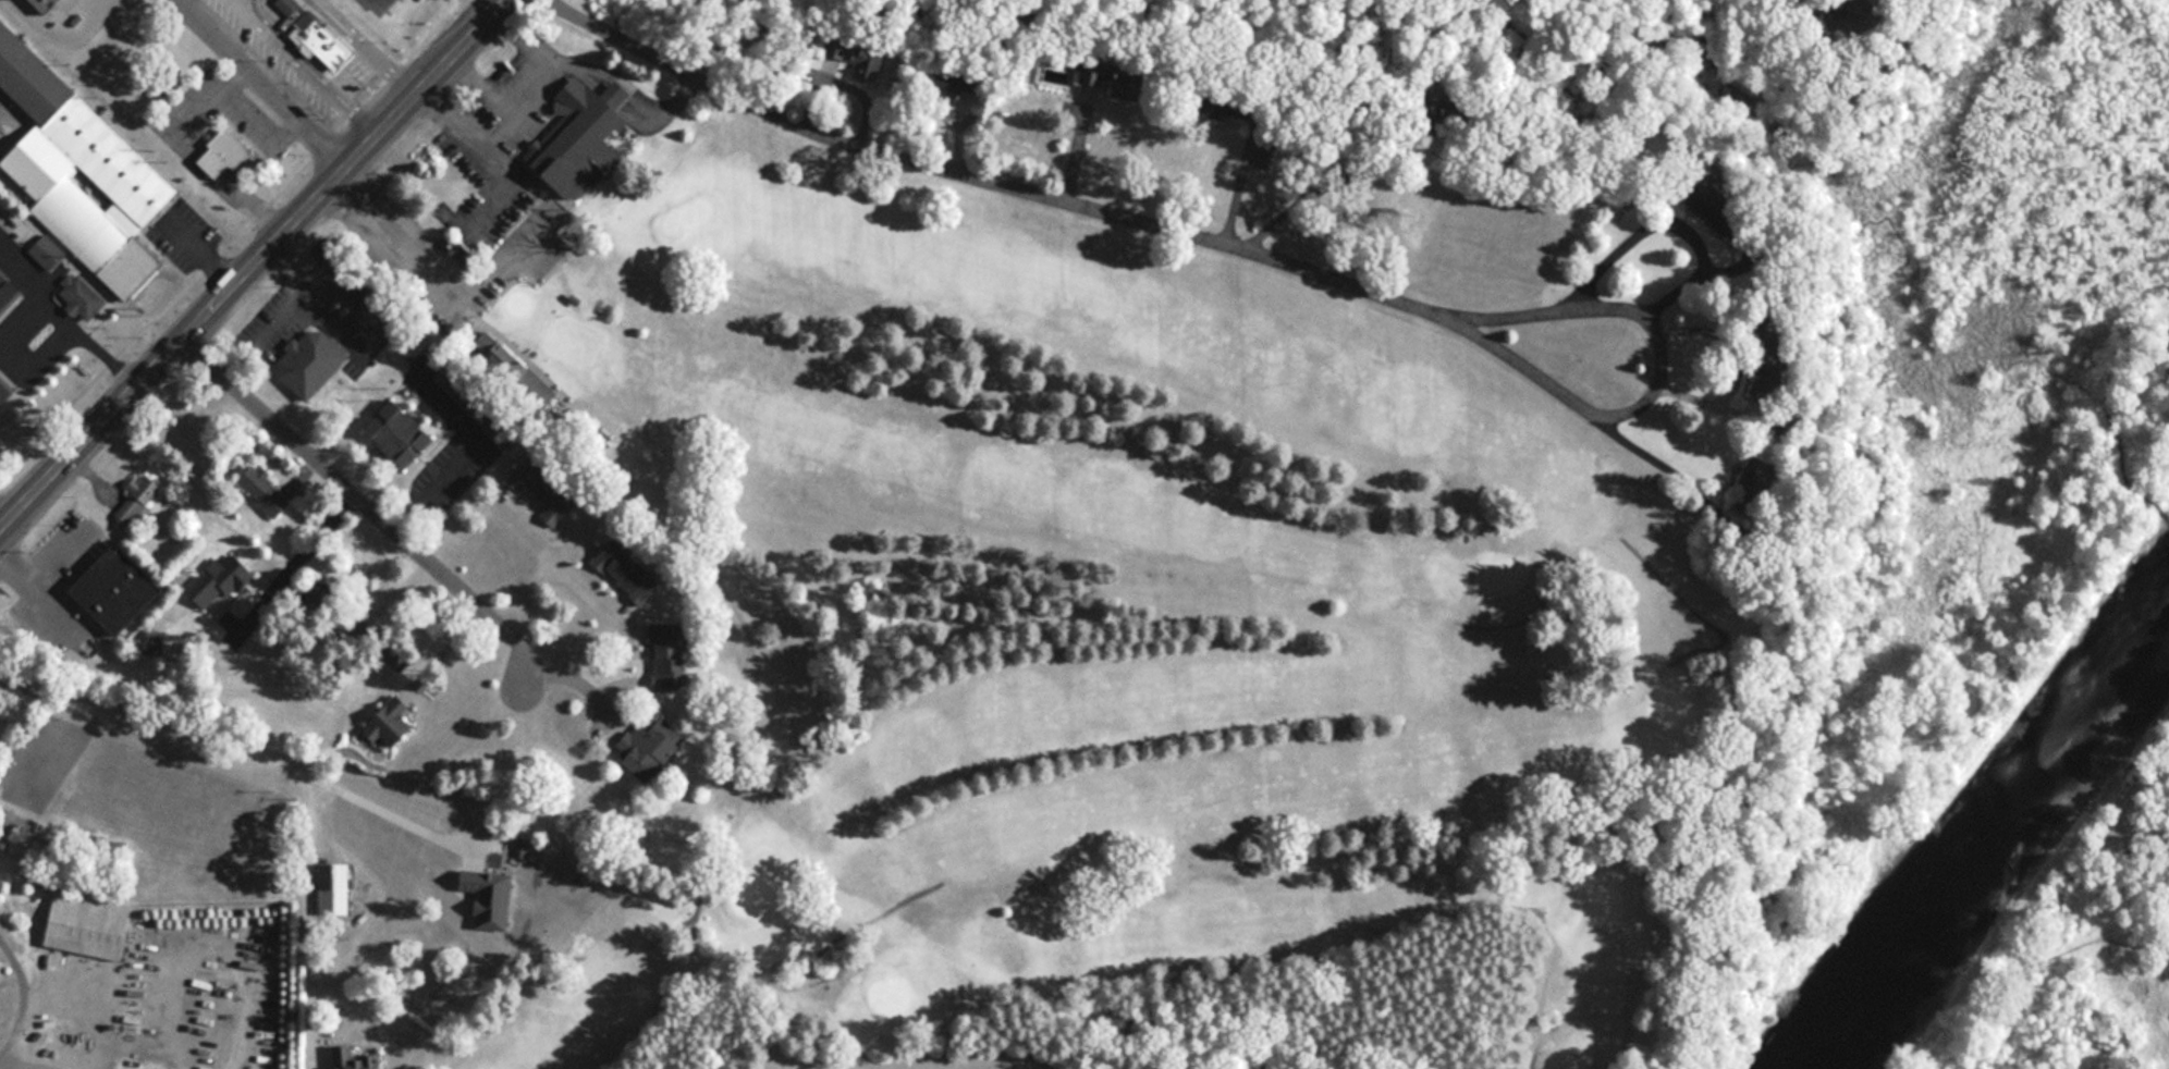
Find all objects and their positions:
building: (314, 35)
building: (863, 58)
road: (273, 78)
building: (1111, 79)
building: (961, 82)
building: (1228, 105)
parking lot: (502, 107)
building: (583, 137)
building: (224, 153)
building: (83, 171)
road: (1008, 174)
building: (1692, 197)
road: (1671, 222)
building: (48, 253)
road: (249, 256)
building: (9, 292)
building: (82, 297)
road: (1537, 302)
building: (313, 361)
road: (1733, 364)
building: (5, 390)
building: (399, 430)
building: (532, 477)
building: (265, 492)
road: (364, 494)
building: (138, 496)
building: (560, 507)
road: (302, 548)
road: (549, 557)
building: (629, 570)
road: (589, 581)
building: (220, 583)
building: (118, 588)
park: (1100, 635)
building: (669, 655)
road: (578, 669)
road: (167, 720)
building: (392, 724)
building: (653, 747)
road: (402, 796)
river: (1990, 824)
road: (308, 898)
building: (89, 925)
building: (354, 1059)

